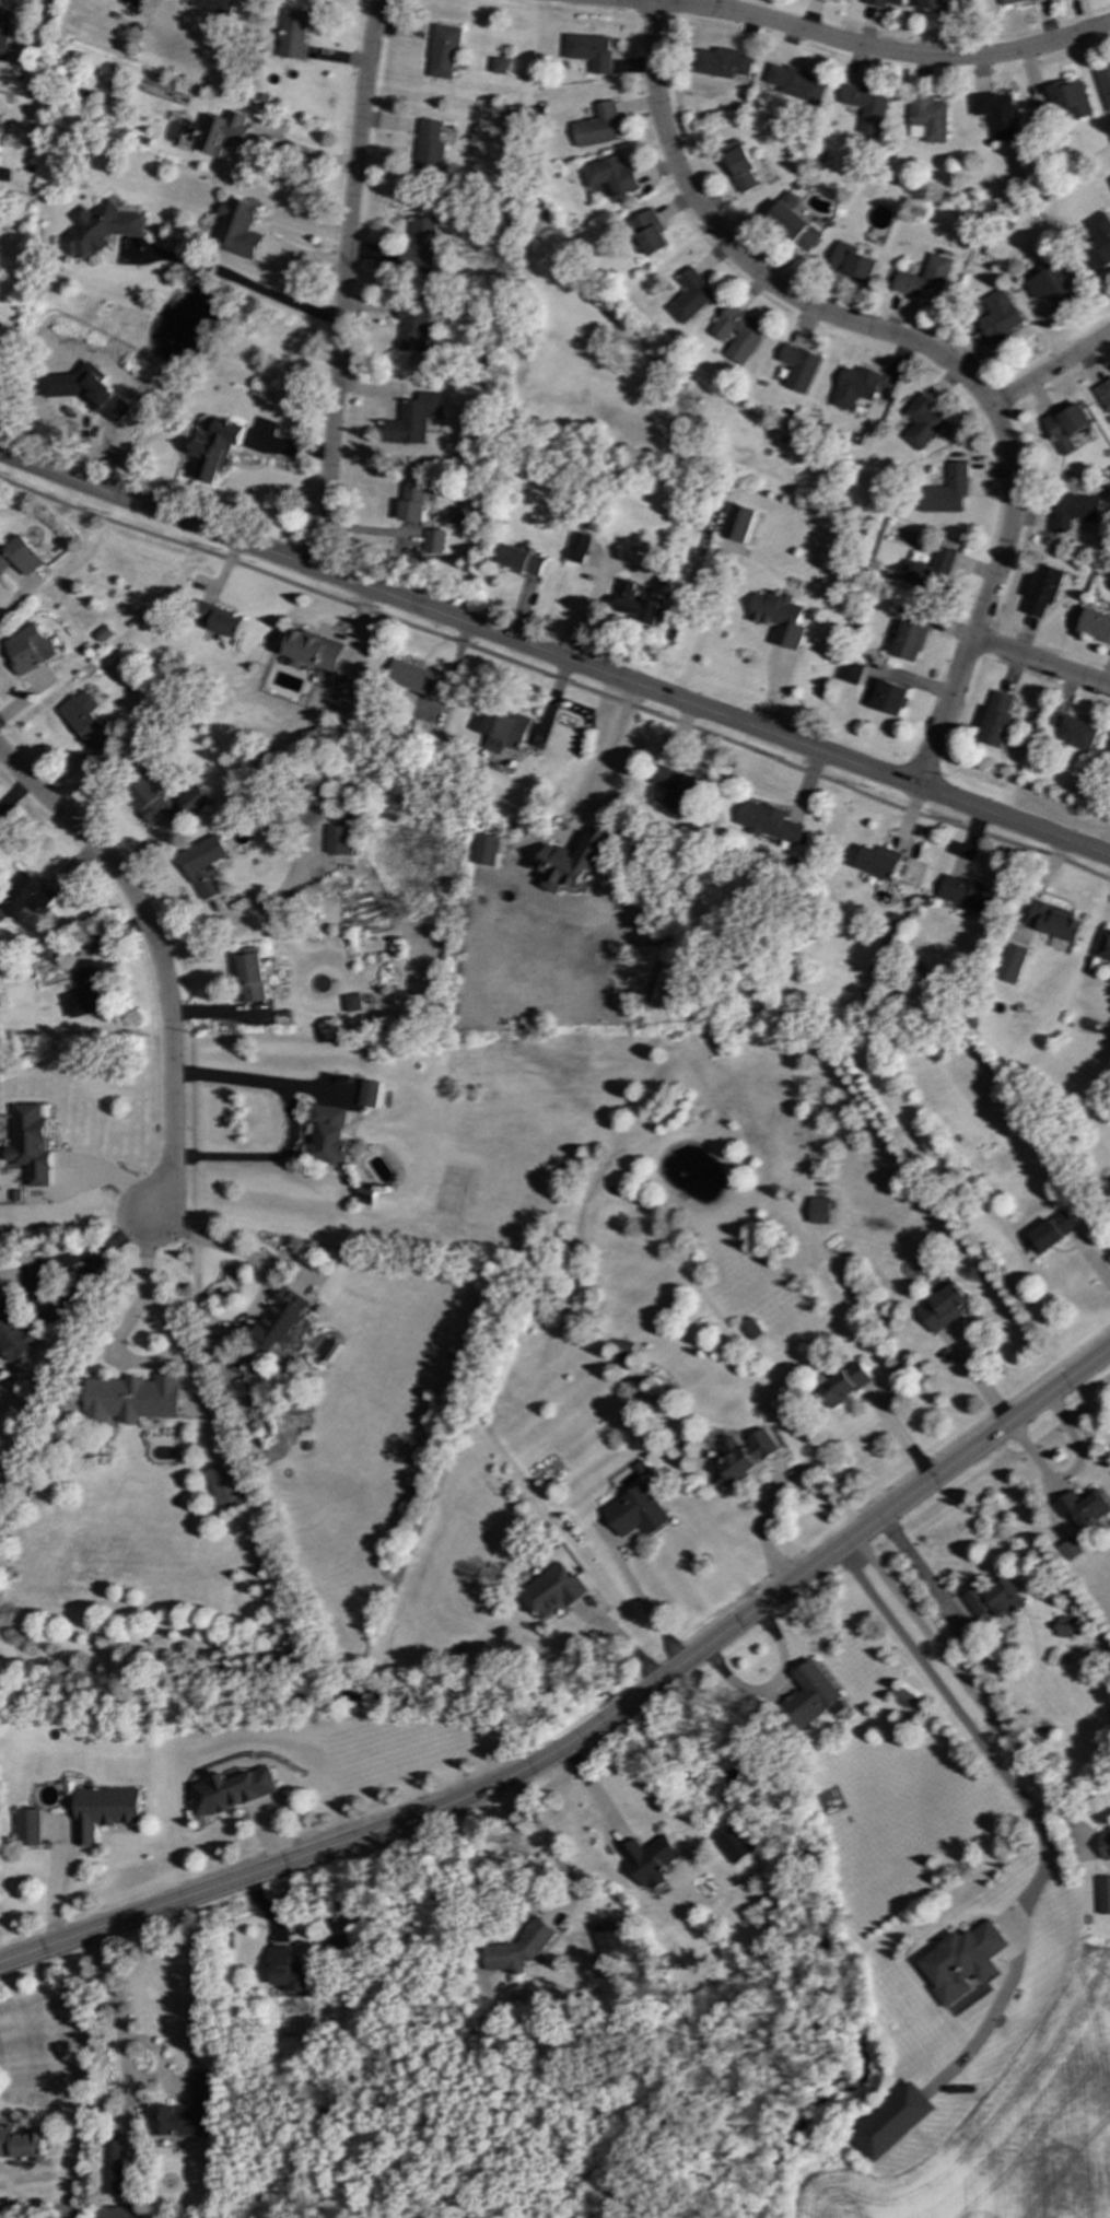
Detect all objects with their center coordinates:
building: (1008, 1)
building: (131, 2)
building: (883, 2)
building: (940, 4)
building: (211, 7)
building: (4, 31)
building: (291, 34)
road: (861, 47)
building: (589, 50)
building: (443, 51)
building: (721, 62)
building: (499, 66)
building: (796, 83)
building: (1105, 84)
building: (1067, 101)
building: (866, 107)
building: (995, 114)
building: (926, 119)
building: (597, 127)
building: (219, 132)
building: (428, 147)
building: (739, 166)
building: (610, 176)
building: (793, 223)
building: (100, 229)
building: (236, 229)
building: (649, 232)
building: (1098, 242)
building: (420, 244)
building: (852, 262)
road: (237, 279)
building: (925, 279)
road: (342, 284)
building: (1051, 287)
building: (690, 296)
building: (998, 316)
building: (414, 325)
building: (738, 334)
road: (923, 349)
building: (798, 367)
road: (1049, 371)
building: (854, 387)
building: (1103, 395)
road: (0, 412)
building: (413, 419)
building: (922, 422)
building: (1065, 427)
building: (217, 448)
building: (945, 491)
building: (412, 503)
building: (1072, 510)
building: (737, 523)
building: (434, 541)
building: (579, 548)
building: (20, 557)
building: (521, 560)
building: (928, 571)
building: (1043, 589)
road: (13, 602)
building: (638, 604)
building: (780, 618)
building: (219, 620)
building: (1095, 626)
building: (101, 633)
building: (910, 639)
building: (26, 649)
building: (313, 651)
road: (554, 656)
road: (1040, 664)
building: (850, 673)
building: (412, 677)
road: (556, 678)
building: (889, 697)
building: (995, 720)
building: (84, 721)
building: (504, 731)
building: (1071, 731)
road: (608, 754)
building: (1108, 755)
building: (678, 786)
building: (194, 801)
building: (768, 821)
building: (338, 840)
building: (484, 850)
building: (572, 861)
building: (879, 862)
building: (203, 866)
building: (969, 894)
building: (25, 896)
building: (1053, 921)
building: (1103, 946)
road: (160, 958)
building: (1012, 964)
building: (252, 974)
building: (87, 991)
building: (352, 1003)
building: (370, 1094)
road: (295, 1120)
building: (329, 1133)
building: (31, 1144)
building: (818, 1211)
building: (1050, 1233)
building: (942, 1308)
road: (59, 1309)
building: (281, 1319)
road: (231, 1324)
building: (749, 1329)
building: (13, 1331)
building: (622, 1351)
road: (183, 1353)
building: (843, 1385)
building: (132, 1398)
building: (743, 1455)
building: (224, 1483)
building: (1082, 1508)
building: (635, 1513)
road: (762, 1529)
building: (1068, 1550)
road: (919, 1568)
building: (551, 1590)
building: (993, 1599)
road: (644, 1604)
building: (1063, 1626)
road: (961, 1682)
building: (809, 1697)
building: (902, 1697)
road: (594, 1729)
road: (1013, 1788)
building: (232, 1790)
building: (105, 1810)
building: (28, 1828)
road: (547, 1838)
building: (734, 1844)
building: (1103, 1845)
building: (649, 1859)
building: (1103, 1895)
building: (606, 1937)
building: (517, 1948)
building: (961, 1961)
building: (289, 1971)
road: (119, 2028)
building: (187, 2112)
building: (892, 2122)
crop: (1015, 2133)
building: (20, 2144)
building: (112, 2167)

